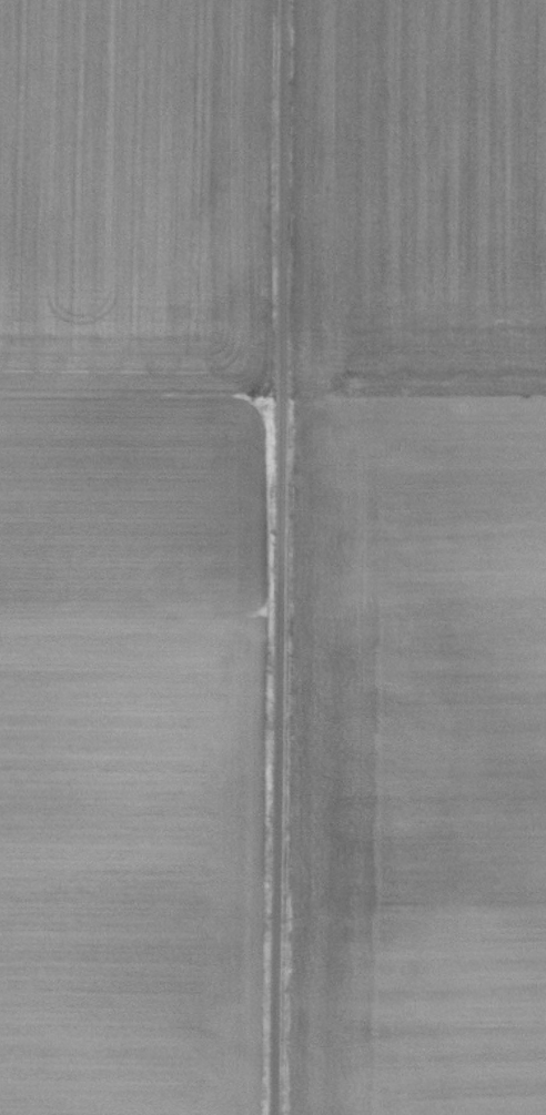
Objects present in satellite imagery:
road: (282, 557)

